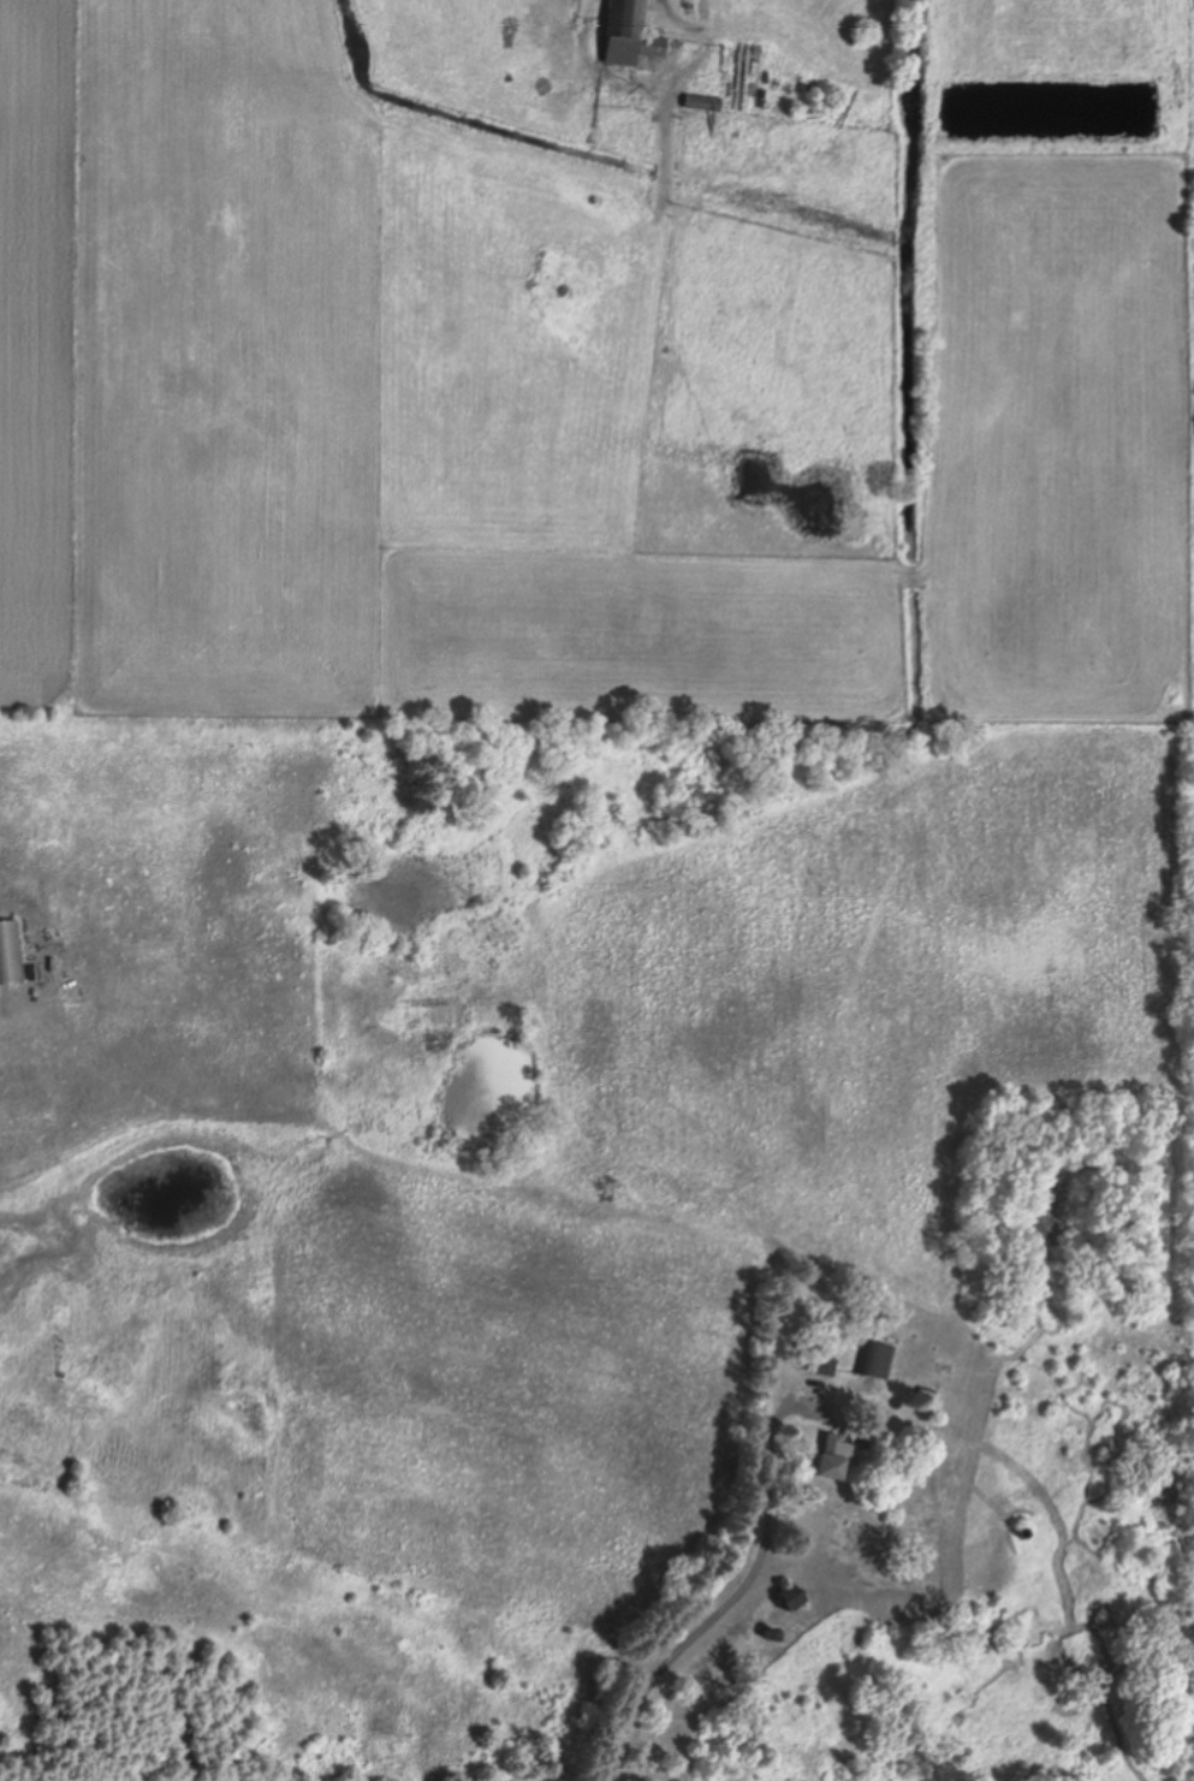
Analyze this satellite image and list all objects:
building: (628, 36)
building: (11, 955)
building: (822, 1361)
building: (879, 1361)
building: (831, 1459)
building: (785, 1598)

